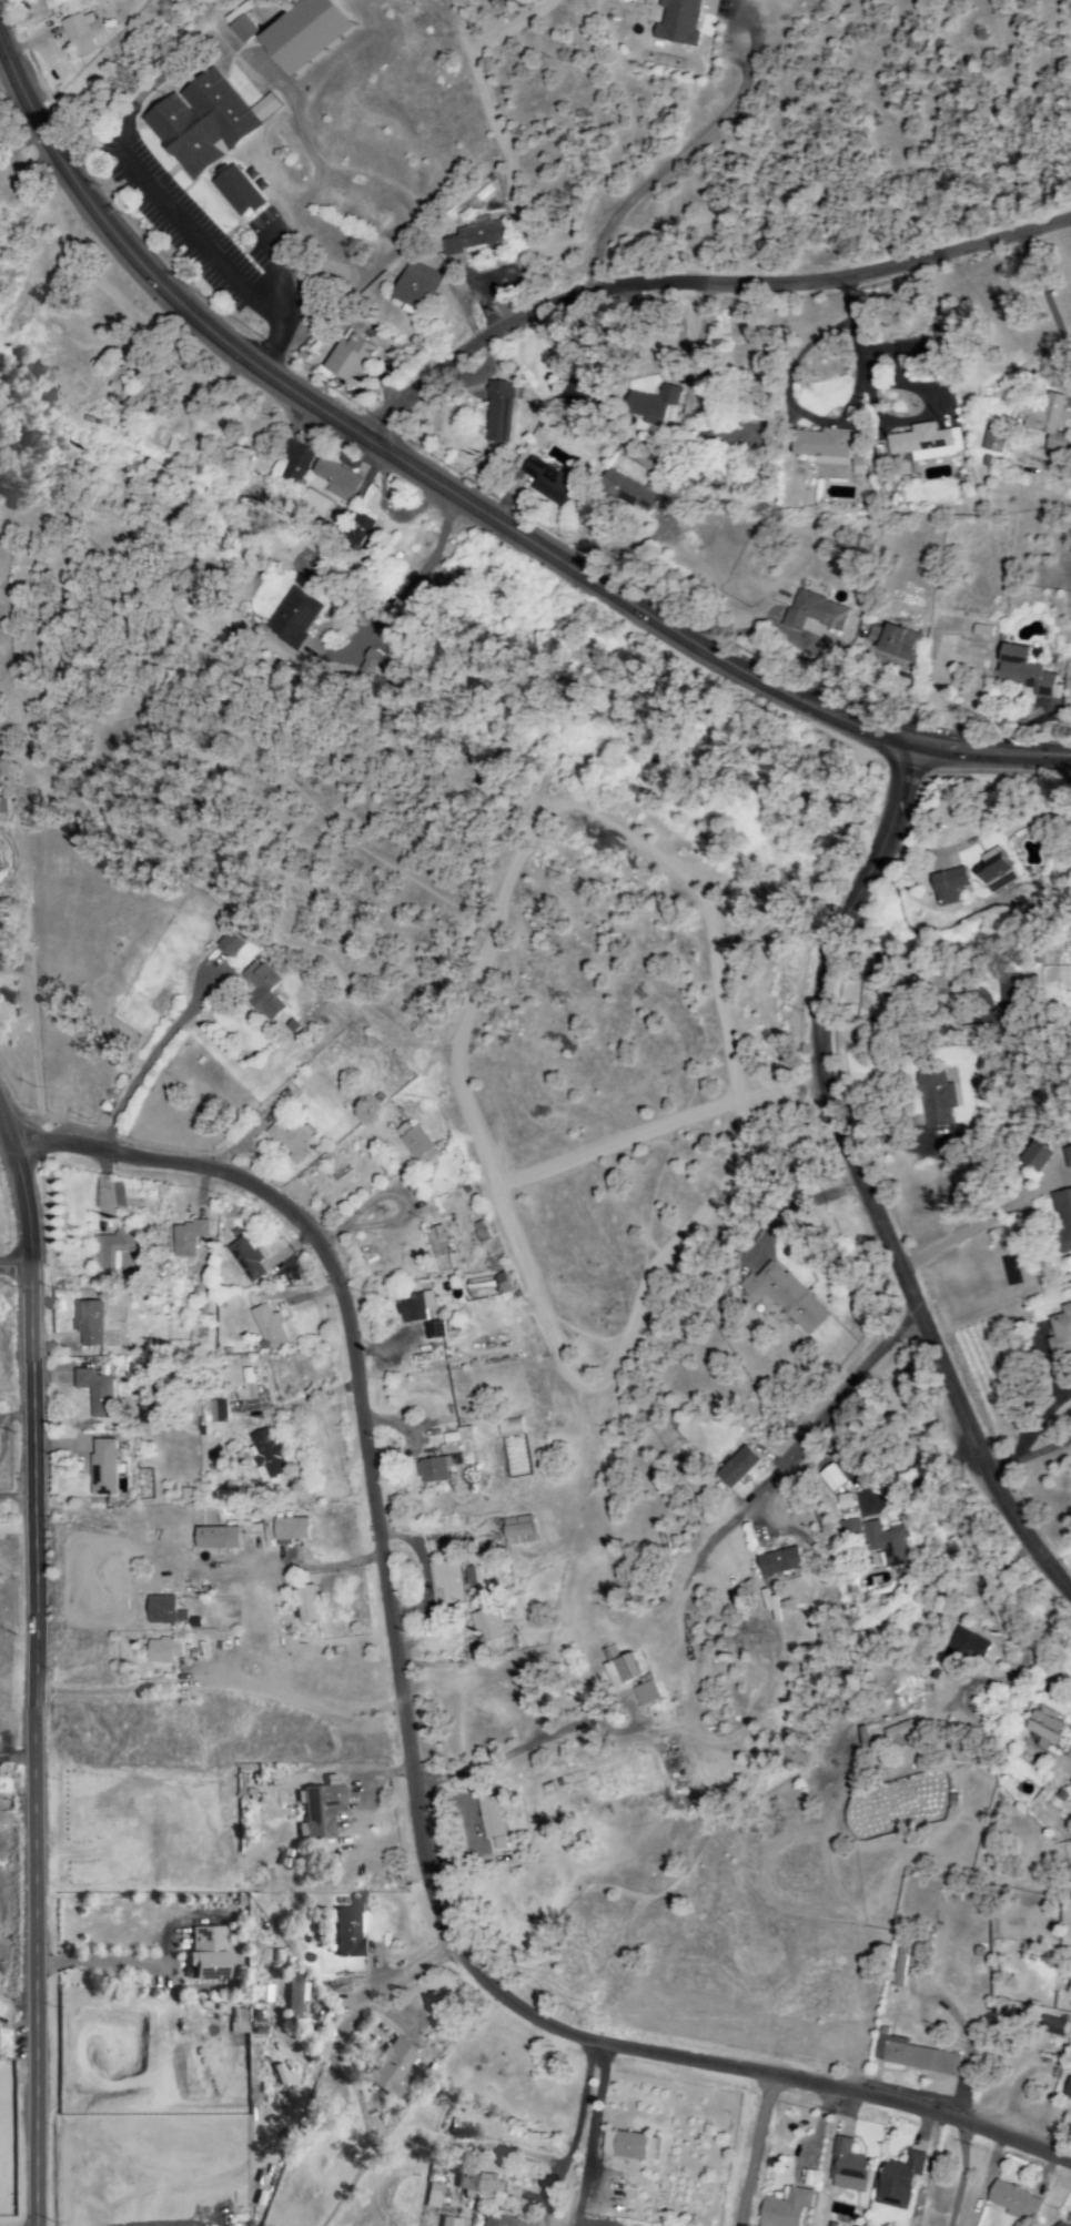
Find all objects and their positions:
building: (58, 4)
building: (676, 22)
building: (246, 31)
building: (316, 33)
building: (81, 38)
building: (210, 123)
road: (667, 165)
building: (233, 192)
building: (473, 239)
road: (705, 284)
building: (413, 289)
road: (368, 299)
building: (347, 358)
building: (114, 381)
building: (137, 399)
building: (650, 405)
building: (496, 412)
building: (1047, 424)
building: (992, 438)
building: (926, 444)
building: (826, 448)
building: (292, 464)
building: (334, 480)
building: (547, 483)
road: (456, 486)
building: (626, 492)
building: (332, 515)
road: (414, 579)
building: (812, 613)
building: (290, 621)
building: (890, 646)
building: (367, 662)
building: (1020, 671)
building: (991, 871)
building: (947, 886)
building: (228, 945)
building: (977, 1032)
road: (145, 1059)
building: (933, 1099)
building: (292, 1143)
building: (416, 1145)
building: (1067, 1156)
building: (1033, 1157)
road: (240, 1183)
road: (859, 1183)
building: (1062, 1221)
road: (966, 1228)
building: (185, 1238)
building: (435, 1244)
building: (114, 1252)
building: (243, 1259)
road: (14, 1267)
building: (782, 1297)
building: (411, 1311)
building: (87, 1324)
building: (266, 1327)
building: (433, 1330)
building: (93, 1393)
road: (831, 1405)
building: (212, 1413)
building: (508, 1428)
building: (456, 1437)
building: (265, 1456)
road: (1029, 1456)
building: (735, 1467)
building: (100, 1468)
building: (431, 1471)
building: (842, 1502)
building: (849, 1528)
building: (287, 1530)
building: (516, 1531)
building: (214, 1539)
building: (885, 1544)
building: (777, 1562)
building: (468, 1578)
building: (445, 1581)
building: (305, 1606)
building: (161, 1611)
building: (488, 1628)
building: (967, 1646)
building: (161, 1651)
road: (30, 1670)
building: (623, 1671)
building: (645, 1694)
building: (657, 1719)
building: (1049, 1734)
building: (898, 1736)
road: (503, 1755)
building: (1070, 1784)
building: (319, 1810)
building: (489, 1819)
building: (345, 1935)
road: (100, 1963)
building: (901, 1966)
road: (408, 1969)
road: (481, 1975)
building: (293, 1994)
building: (1051, 2027)
building: (910, 2056)
building: (388, 2070)
building: (1065, 2090)
road: (589, 2133)
building: (626, 2148)
road: (755, 2151)
building: (846, 2168)
road: (961, 2174)
building: (896, 2182)
building: (478, 2184)
building: (432, 2196)
building: (1013, 2203)
building: (784, 2208)
building: (497, 2219)
building: (449, 2222)
building: (1058, 2225)

